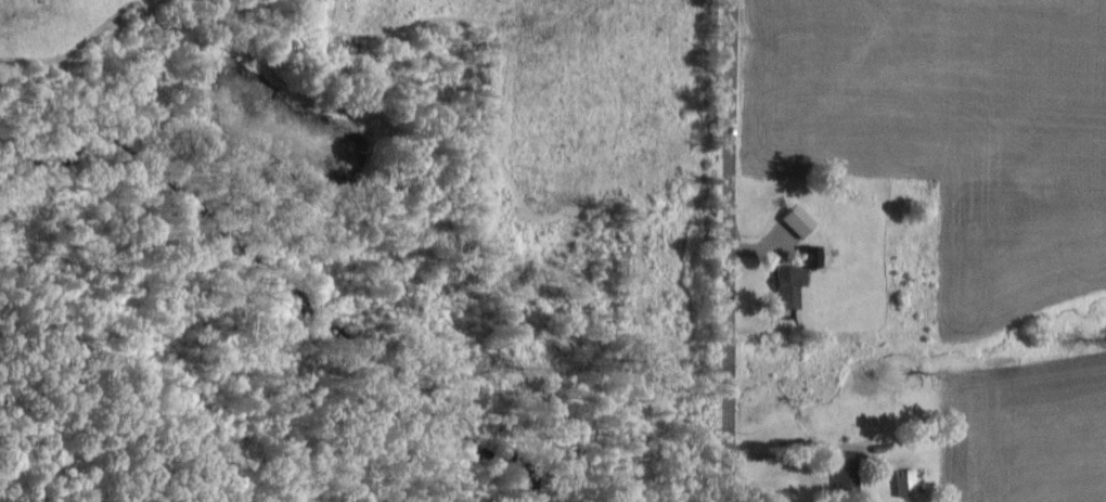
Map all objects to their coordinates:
building: (803, 221)
road: (729, 250)
building: (800, 278)
road: (788, 454)
building: (909, 484)

